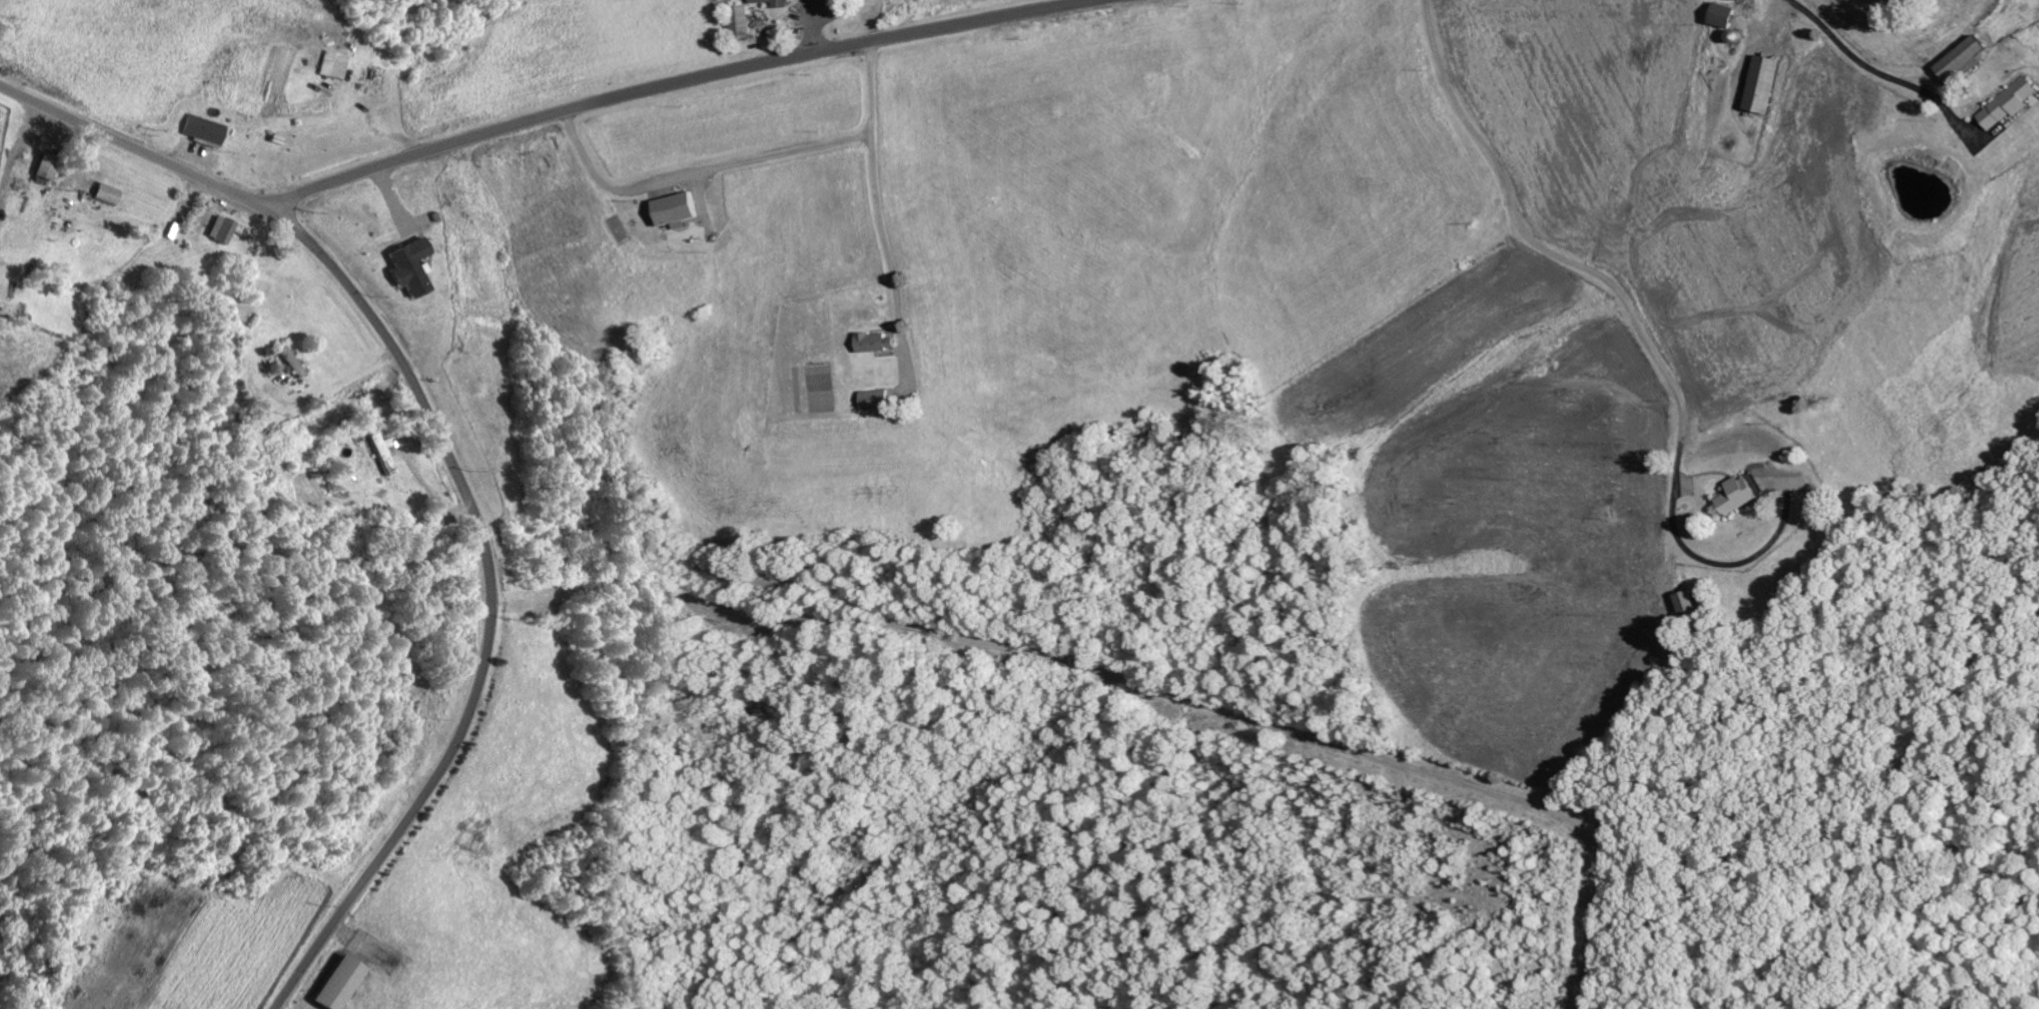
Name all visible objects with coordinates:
building: (780, 2)
building: (1719, 14)
building: (745, 21)
building: (1958, 60)
building: (333, 64)
building: (1758, 83)
building: (2004, 104)
road: (534, 116)
building: (205, 128)
building: (50, 165)
building: (109, 194)
building: (681, 209)
building: (223, 228)
building: (411, 266)
road: (1632, 315)
building: (881, 341)
building: (292, 362)
building: (880, 398)
building: (382, 454)
building: (1733, 495)
road: (486, 605)
building: (341, 983)

